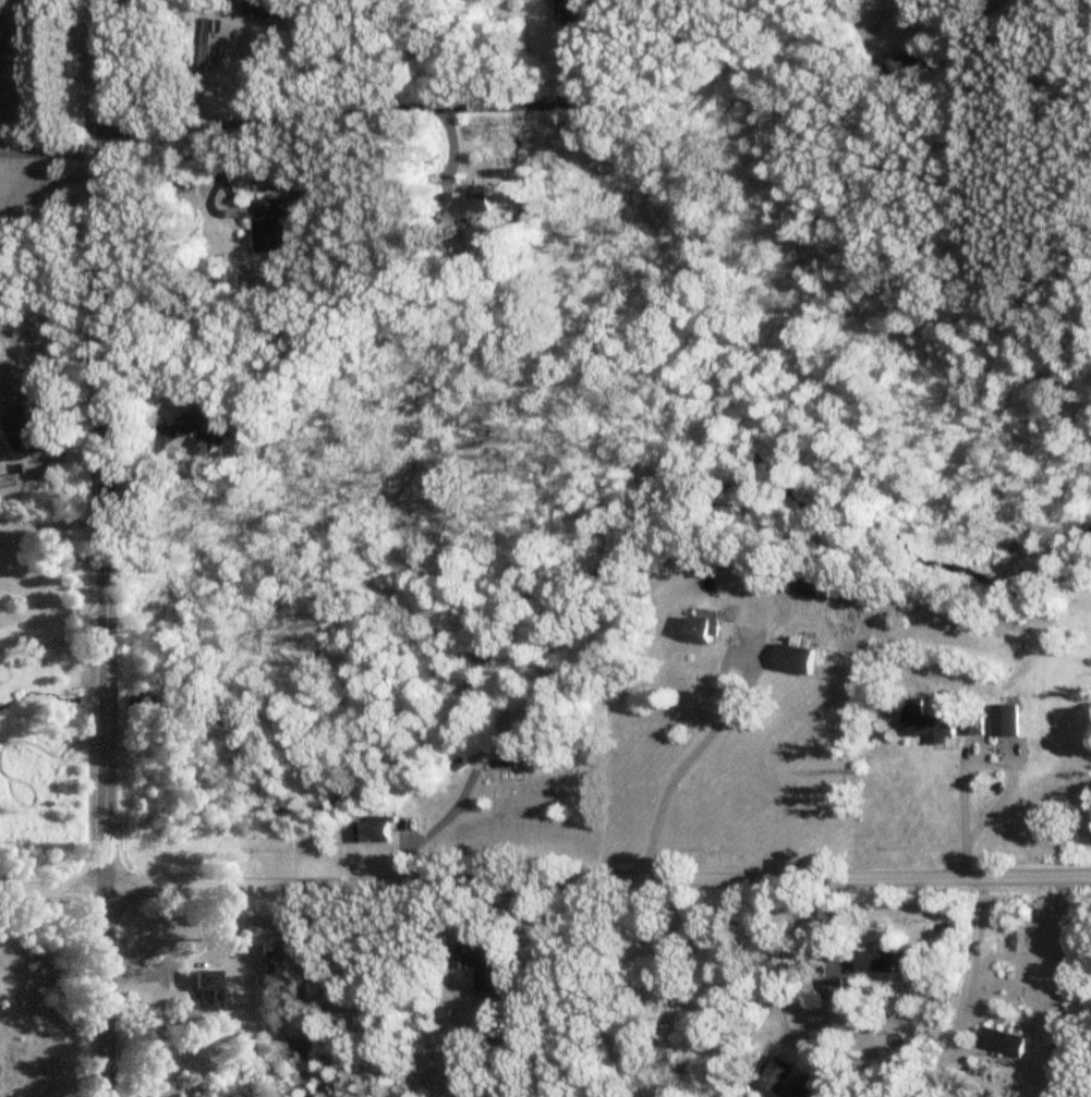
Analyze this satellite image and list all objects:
building: (567, 5)
building: (263, 9)
road: (423, 111)
road: (52, 153)
building: (460, 205)
building: (265, 222)
building: (201, 428)
building: (17, 434)
road: (145, 477)
road: (51, 524)
road: (105, 548)
building: (811, 584)
road: (51, 606)
building: (703, 632)
building: (795, 657)
building: (1003, 721)
building: (923, 722)
building: (530, 736)
road: (967, 760)
road: (683, 767)
building: (374, 831)
road: (545, 883)
road: (977, 951)
road: (1057, 954)
building: (472, 956)
building: (882, 961)
road: (772, 982)
building: (489, 989)
building: (205, 994)
building: (1004, 1043)
building: (776, 1075)
building: (784, 1096)

